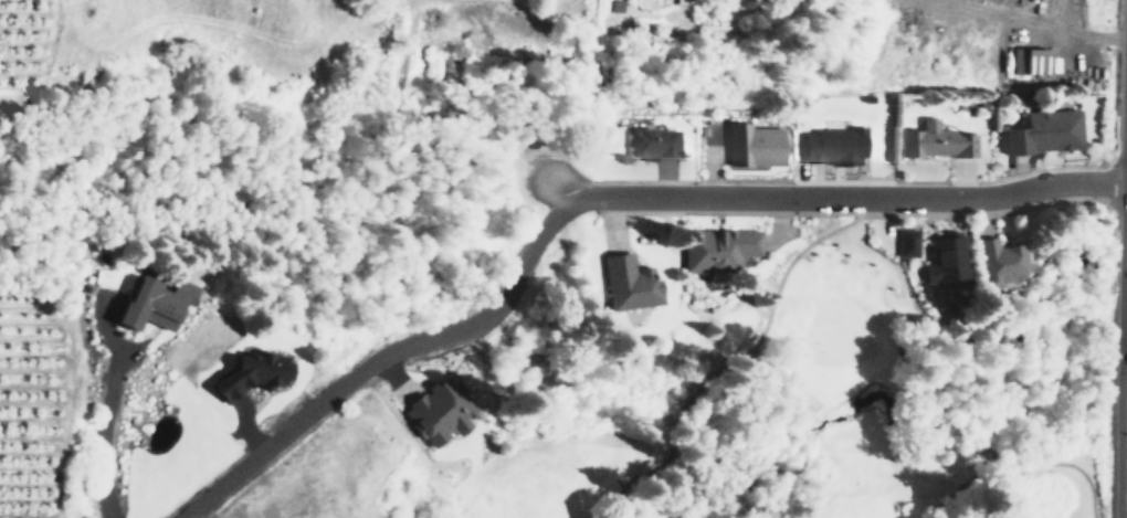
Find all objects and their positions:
building: (1029, 60)
building: (1043, 131)
building: (938, 140)
building: (652, 144)
building: (754, 144)
building: (831, 146)
road: (845, 195)
road: (870, 204)
road: (726, 211)
road: (992, 212)
road: (535, 232)
building: (905, 242)
building: (716, 249)
building: (945, 258)
building: (999, 262)
road: (790, 269)
building: (628, 283)
building: (154, 303)
road: (723, 364)
building: (250, 373)
road: (751, 381)
road: (694, 401)
road: (301, 409)
park: (813, 410)
building: (438, 411)
road: (761, 422)
road: (97, 432)
road: (1024, 464)
road: (770, 467)
road: (650, 472)
road: (766, 509)
road: (1126, 509)

